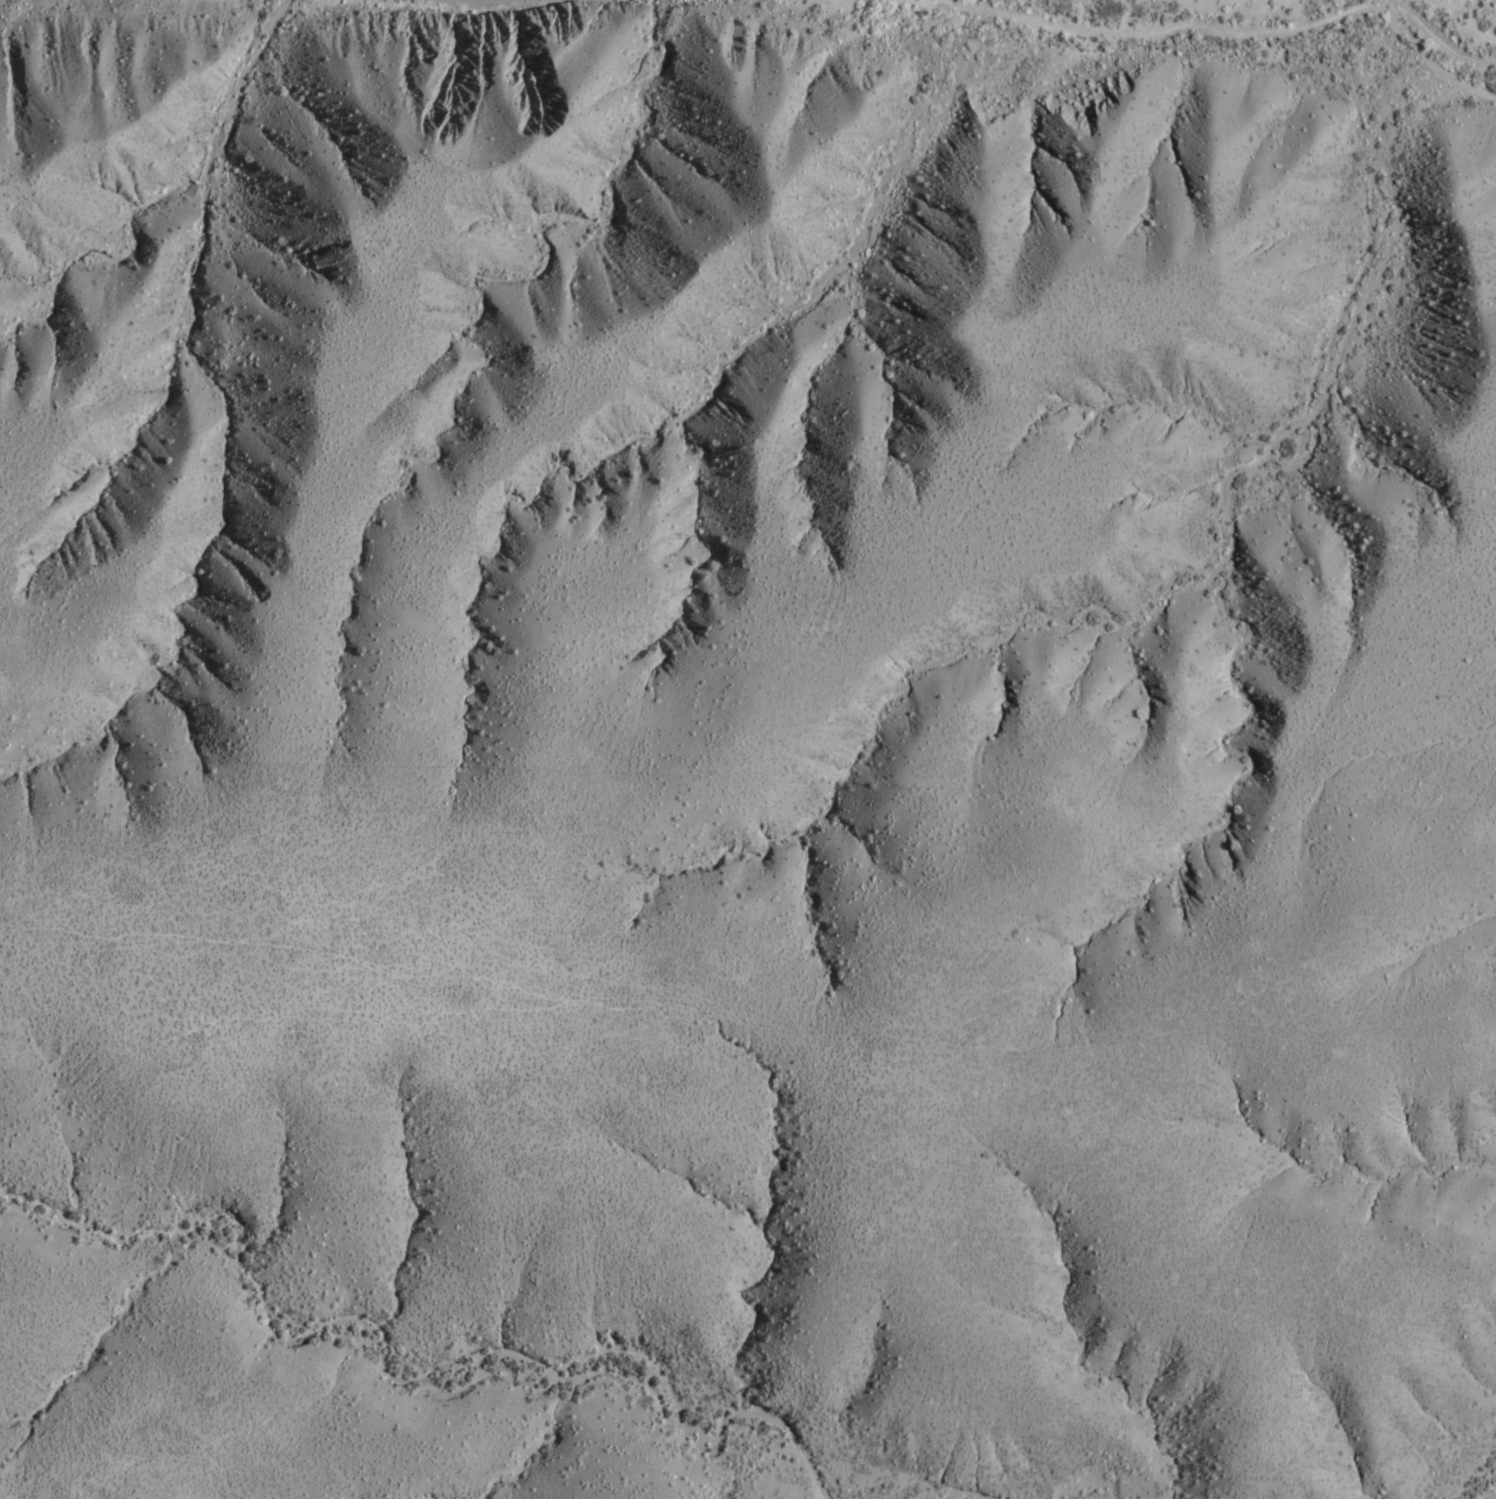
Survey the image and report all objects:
road: (1428, 64)

